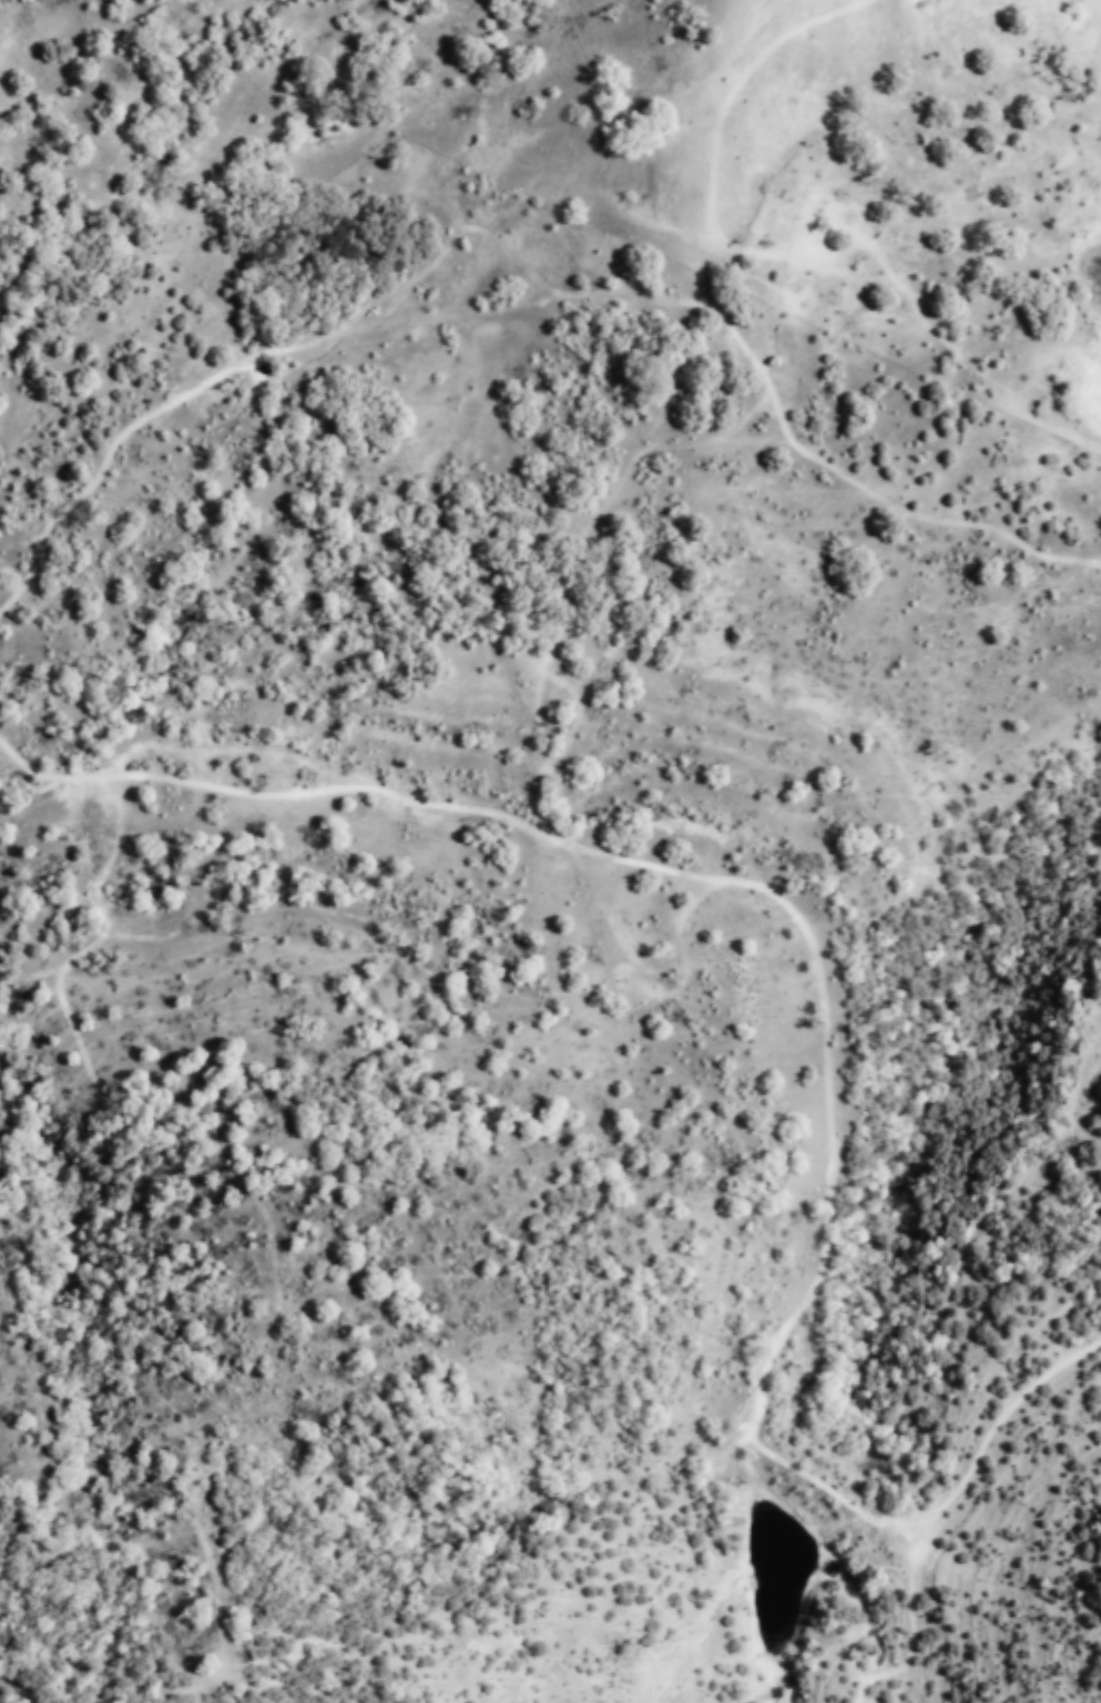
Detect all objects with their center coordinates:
road: (711, 317)

